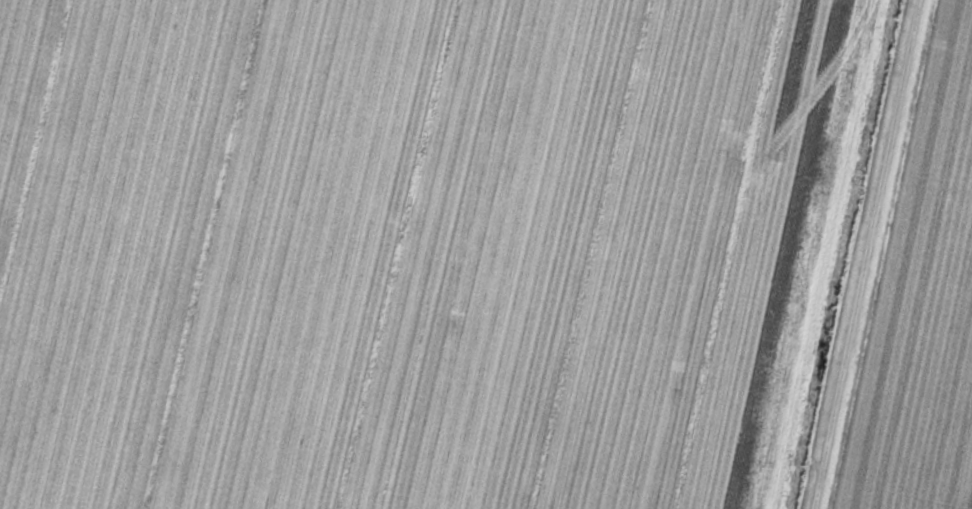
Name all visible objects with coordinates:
road: (871, 254)

